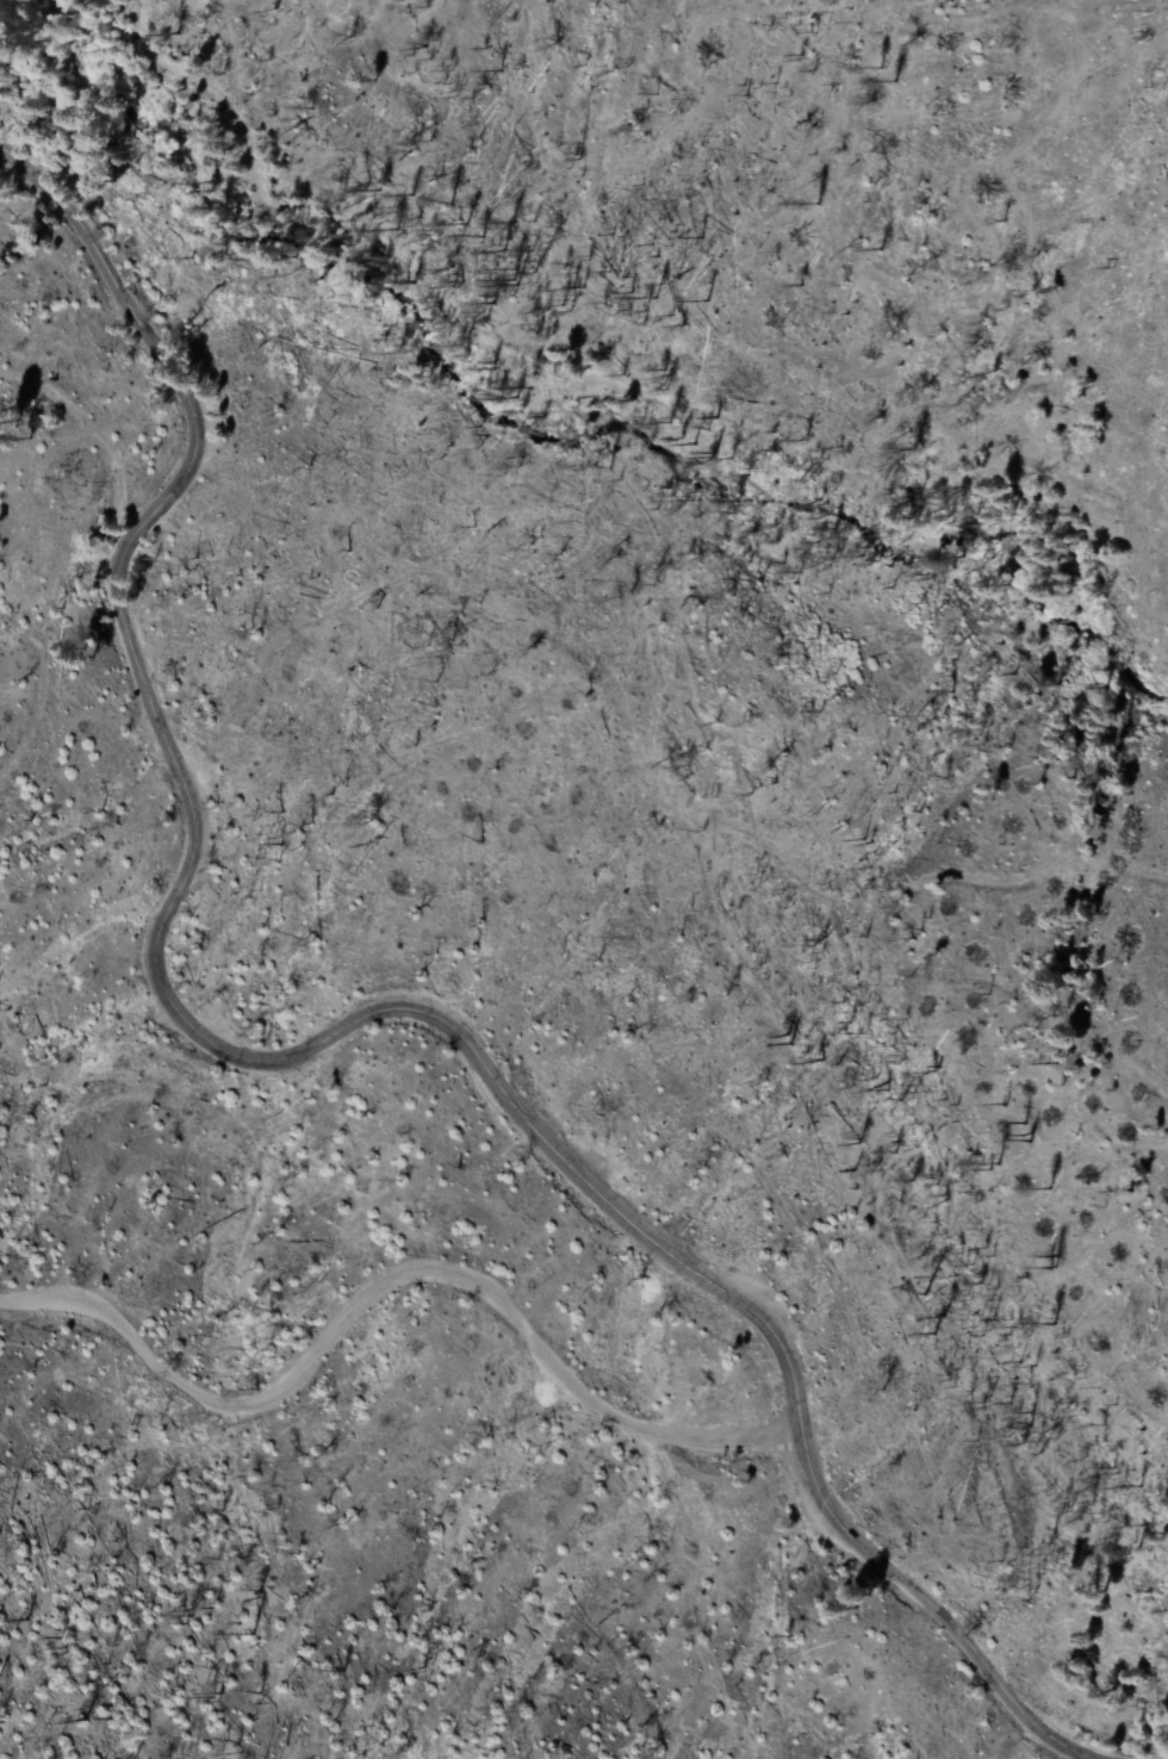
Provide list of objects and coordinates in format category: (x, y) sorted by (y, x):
road: (311, 224)
road: (317, 1043)
road: (392, 1270)
park: (24, 1492)

